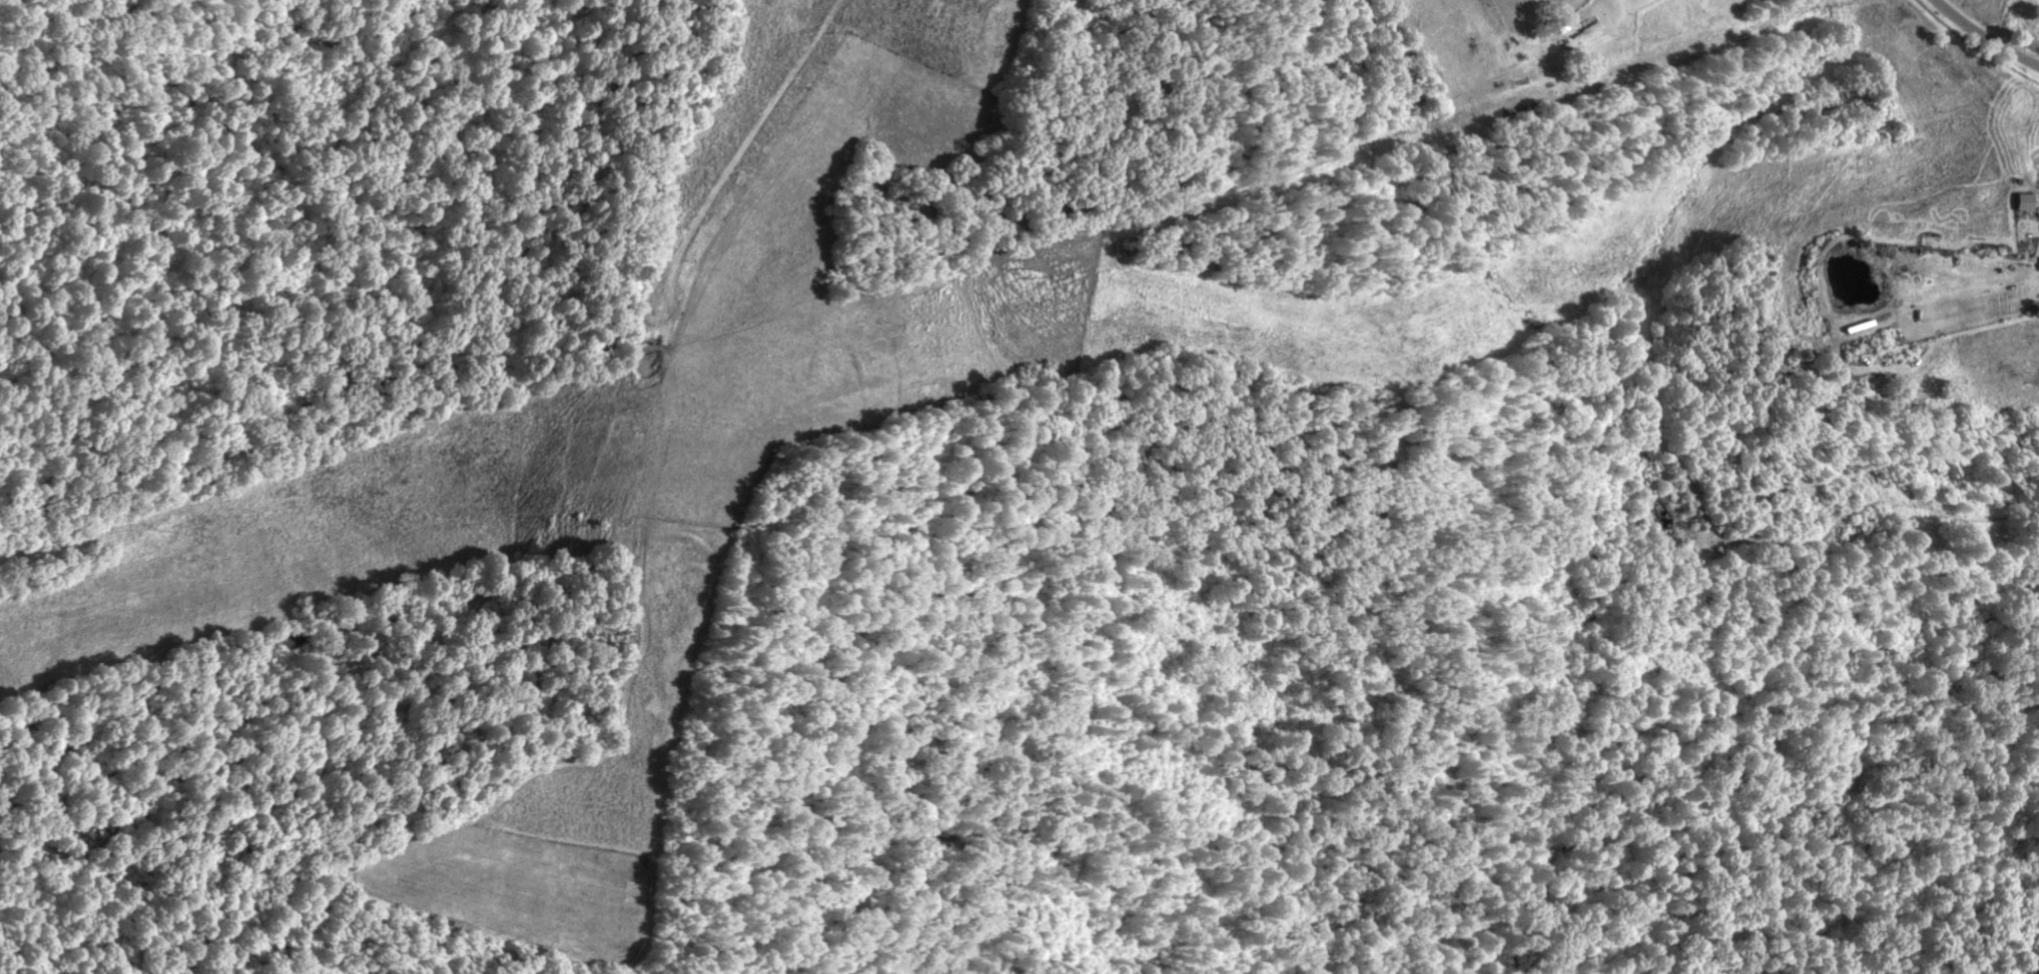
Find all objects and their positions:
road: (1985, 36)
building: (2028, 201)

